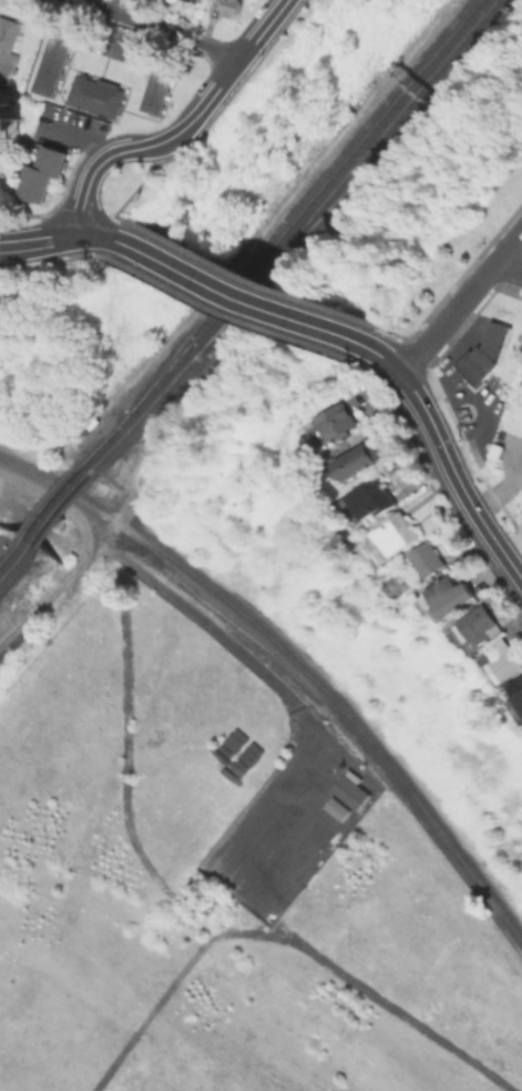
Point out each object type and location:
building: (193, 0)
building: (196, 0)
building: (232, 7)
road: (154, 29)
building: (8, 49)
building: (54, 62)
building: (158, 91)
building: (98, 95)
road: (209, 100)
road: (58, 119)
building: (7, 125)
parking lot: (62, 128)
railway: (387, 132)
road: (82, 140)
building: (44, 173)
road: (83, 194)
railway: (294, 199)
railway: (280, 234)
railway: (288, 234)
road: (54, 239)
road: (510, 267)
road: (245, 294)
road: (462, 302)
building: (521, 356)
building: (485, 358)
road: (389, 363)
building: (336, 423)
building: (359, 461)
road: (457, 476)
building: (371, 499)
railway: (51, 501)
railway: (61, 507)
road: (42, 534)
building: (397, 534)
railway: (10, 548)
road: (93, 550)
railway: (14, 559)
building: (429, 559)
road: (156, 583)
building: (449, 595)
building: (477, 625)
building: (503, 660)
railway: (295, 661)
road: (344, 696)
building: (518, 700)
building: (352, 789)
road: (288, 792)
building: (338, 809)
building: (310, 838)
building: (310, 867)
road: (286, 939)

